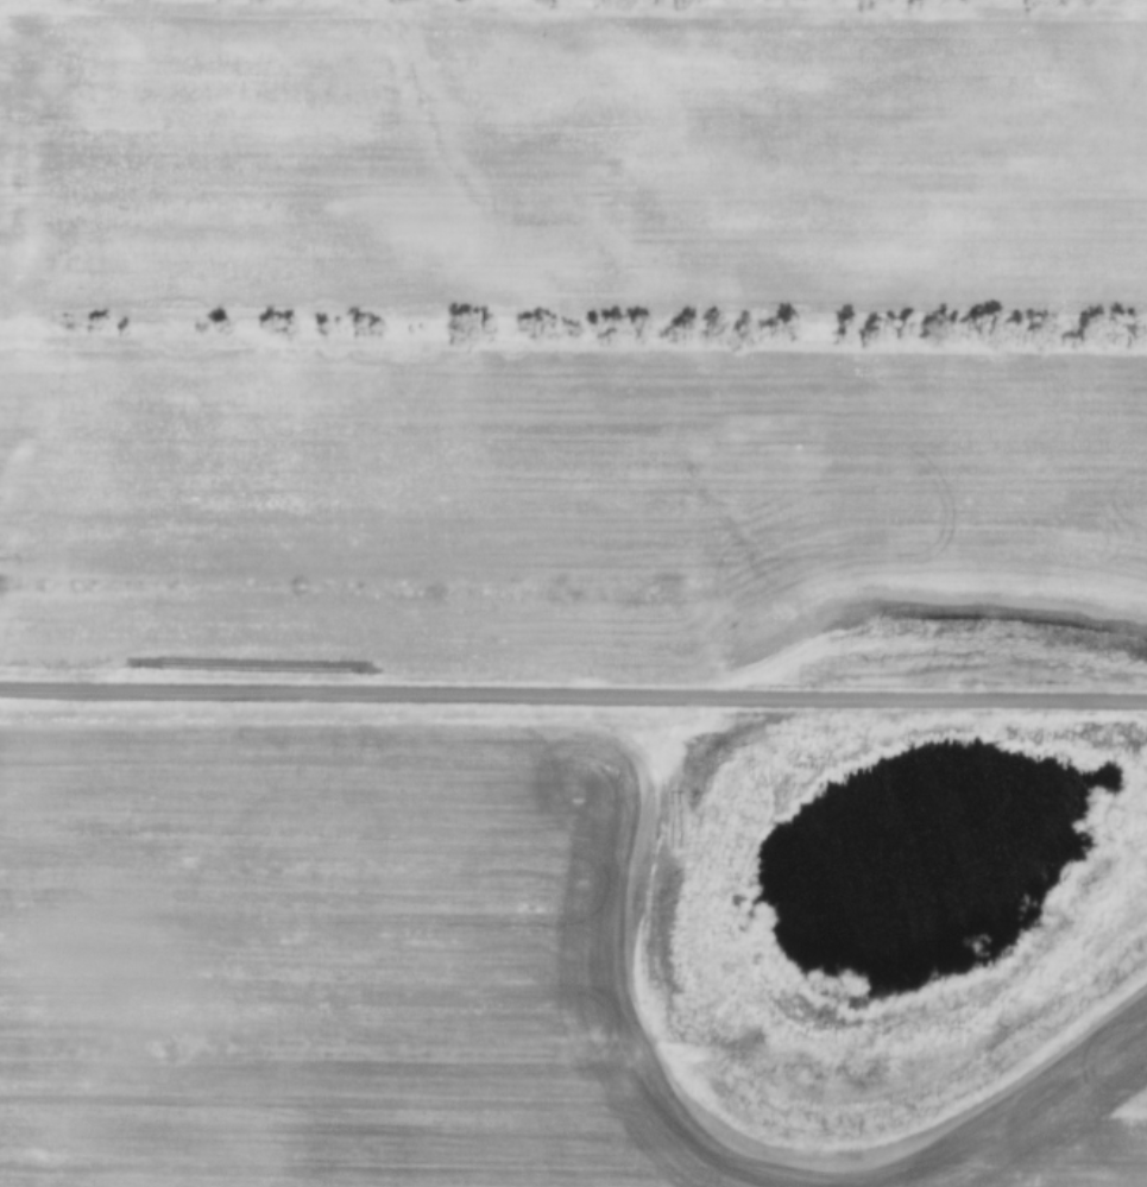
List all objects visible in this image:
road: (573, 697)

